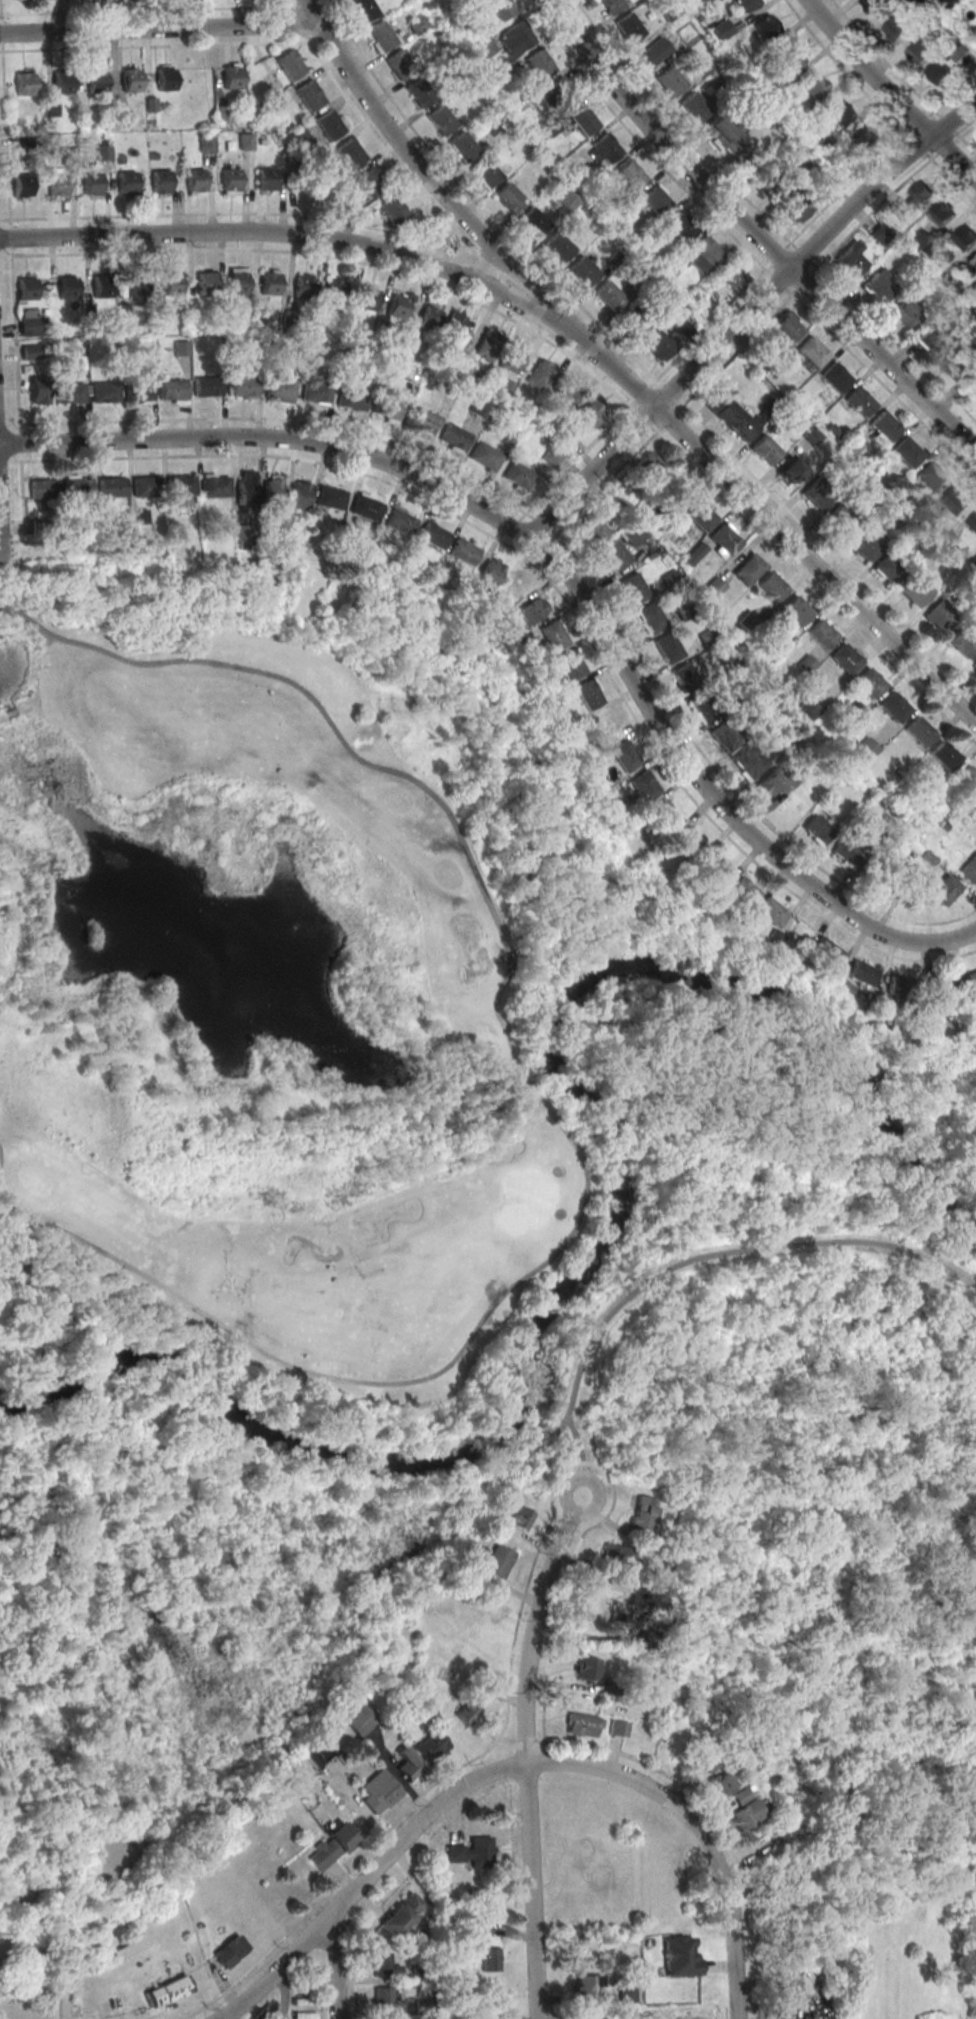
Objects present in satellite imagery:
building: (956, 2)
building: (612, 4)
building: (747, 4)
building: (975, 4)
road: (288, 5)
building: (874, 6)
building: (365, 8)
building: (502, 8)
road: (143, 9)
road: (0, 17)
road: (296, 22)
building: (418, 24)
building: (629, 26)
building: (766, 26)
road: (158, 27)
building: (722, 29)
building: (896, 29)
road: (1, 31)
building: (520, 34)
building: (382, 35)
road: (154, 46)
building: (485, 47)
building: (959, 51)
building: (919, 53)
building: (652, 54)
building: (793, 57)
building: (400, 63)
building: (540, 63)
building: (292, 66)
building: (939, 72)
building: (232, 75)
road: (901, 78)
building: (166, 80)
building: (672, 80)
building: (132, 81)
building: (97, 82)
building: (63, 83)
building: (25, 84)
building: (816, 84)
building: (421, 91)
building: (562, 92)
road: (888, 94)
building: (310, 96)
building: (276, 104)
road: (875, 107)
building: (695, 108)
building: (52, 109)
building: (838, 111)
building: (223, 115)
building: (121, 118)
building: (442, 119)
building: (584, 120)
building: (331, 126)
road: (4, 134)
building: (297, 134)
building: (724, 137)
building: (870, 140)
building: (246, 142)
building: (207, 144)
building: (464, 145)
building: (607, 147)
building: (104, 153)
building: (351, 154)
building: (69, 157)
building: (487, 171)
building: (631, 174)
building: (231, 180)
building: (266, 180)
building: (195, 181)
building: (372, 181)
building: (770, 181)
building: (161, 182)
building: (127, 183)
building: (92, 184)
building: (58, 185)
building: (23, 186)
building: (510, 196)
building: (915, 198)
building: (656, 201)
road: (477, 202)
building: (566, 203)
building: (394, 210)
building: (941, 213)
road: (328, 218)
road: (767, 220)
building: (534, 221)
building: (682, 226)
road: (754, 234)
building: (879, 234)
road: (10, 236)
road: (310, 236)
building: (965, 237)
building: (560, 245)
road: (744, 247)
building: (708, 250)
road: (824, 259)
building: (851, 260)
road: (5, 270)
road: (491, 270)
building: (584, 271)
building: (732, 275)
building: (238, 283)
building: (206, 284)
building: (271, 284)
building: (137, 285)
building: (172, 285)
building: (102, 287)
building: (305, 287)
building: (27, 288)
building: (68, 288)
building: (877, 288)
building: (335, 291)
building: (609, 294)
road: (736, 296)
building: (368, 299)
building: (398, 306)
road: (744, 314)
building: (905, 314)
building: (430, 318)
building: (635, 319)
building: (29, 322)
building: (787, 326)
building: (455, 327)
road: (14, 339)
building: (931, 340)
building: (660, 344)
building: (489, 345)
building: (181, 348)
road: (562, 350)
building: (29, 351)
building: (812, 351)
building: (512, 358)
building: (957, 366)
building: (540, 373)
road: (624, 375)
building: (835, 377)
building: (208, 386)
building: (243, 386)
building: (281, 387)
building: (38, 390)
building: (173, 390)
building: (139, 391)
building: (317, 392)
building: (105, 393)
building: (70, 394)
building: (565, 394)
building: (353, 399)
building: (860, 402)
building: (389, 407)
building: (481, 407)
building: (590, 414)
building: (731, 415)
building: (423, 421)
building: (885, 425)
building: (813, 436)
building: (455, 437)
road: (19, 441)
building: (766, 449)
building: (907, 452)
building: (486, 455)
building: (551, 456)
road: (736, 459)
building: (650, 466)
building: (790, 468)
road: (618, 470)
building: (519, 472)
building: (931, 476)
building: (246, 486)
building: (147, 487)
building: (181, 487)
building: (216, 487)
building: (43, 489)
building: (77, 489)
building: (112, 489)
building: (273, 489)
building: (676, 492)
building: (817, 494)
building: (299, 495)
road: (21, 498)
building: (331, 499)
building: (957, 500)
building: (366, 509)
building: (700, 515)
building: (138, 516)
building: (842, 519)
building: (973, 520)
building: (400, 522)
building: (592, 529)
building: (432, 535)
building: (240, 536)
building: (725, 539)
building: (865, 545)
road: (569, 549)
building: (463, 551)
building: (614, 554)
road: (558, 568)
building: (749, 568)
building: (889, 568)
building: (489, 572)
building: (772, 585)
building: (514, 586)
building: (633, 587)
building: (916, 590)
road: (561, 597)
building: (797, 609)
building: (530, 610)
building: (941, 615)
building: (650, 617)
road: (896, 617)
building: (552, 634)
building: (822, 634)
building: (962, 641)
building: (668, 647)
building: (847, 657)
building: (806, 663)
building: (569, 664)
building: (974, 666)
building: (684, 678)
building: (870, 681)
building: (586, 694)
building: (895, 706)
building: (704, 707)
building: (808, 709)
building: (603, 725)
building: (920, 731)
building: (720, 734)
building: (862, 752)
building: (944, 753)
building: (622, 756)
building: (751, 764)
building: (969, 776)
building: (770, 783)
building: (641, 785)
building: (663, 814)
building: (817, 829)
building: (688, 841)
building: (849, 851)
building: (713, 867)
building: (969, 868)
building: (890, 884)
building: (944, 889)
building: (742, 890)
building: (769, 910)
building: (771, 939)
building: (823, 951)
building: (860, 972)
building: (972, 979)
building: (900, 986)
building: (943, 987)
park: (266, 1009)
river: (819, 1023)
road: (541, 1109)
park: (419, 1225)
road: (935, 1263)
road: (645, 1277)
river: (479, 1451)
building: (644, 1514)
building: (518, 1519)
building: (619, 1554)
building: (495, 1561)
building: (631, 1611)
building: (587, 1669)
building: (468, 1711)
building: (356, 1721)
building: (584, 1724)
road: (544, 1728)
building: (619, 1728)
building: (431, 1746)
building: (313, 1753)
road: (525, 1753)
road: (518, 1764)
building: (408, 1765)
building: (721, 1784)
building: (378, 1791)
road: (412, 1803)
building: (747, 1814)
building: (329, 1847)
building: (473, 1852)
building: (401, 1914)
building: (483, 1928)
building: (228, 1951)
building: (487, 1956)
building: (679, 1956)
road: (334, 1965)
building: (383, 1967)
building: (167, 1991)
building: (626, 1994)
building: (386, 1999)
road: (234, 2013)
road: (815, 2016)

